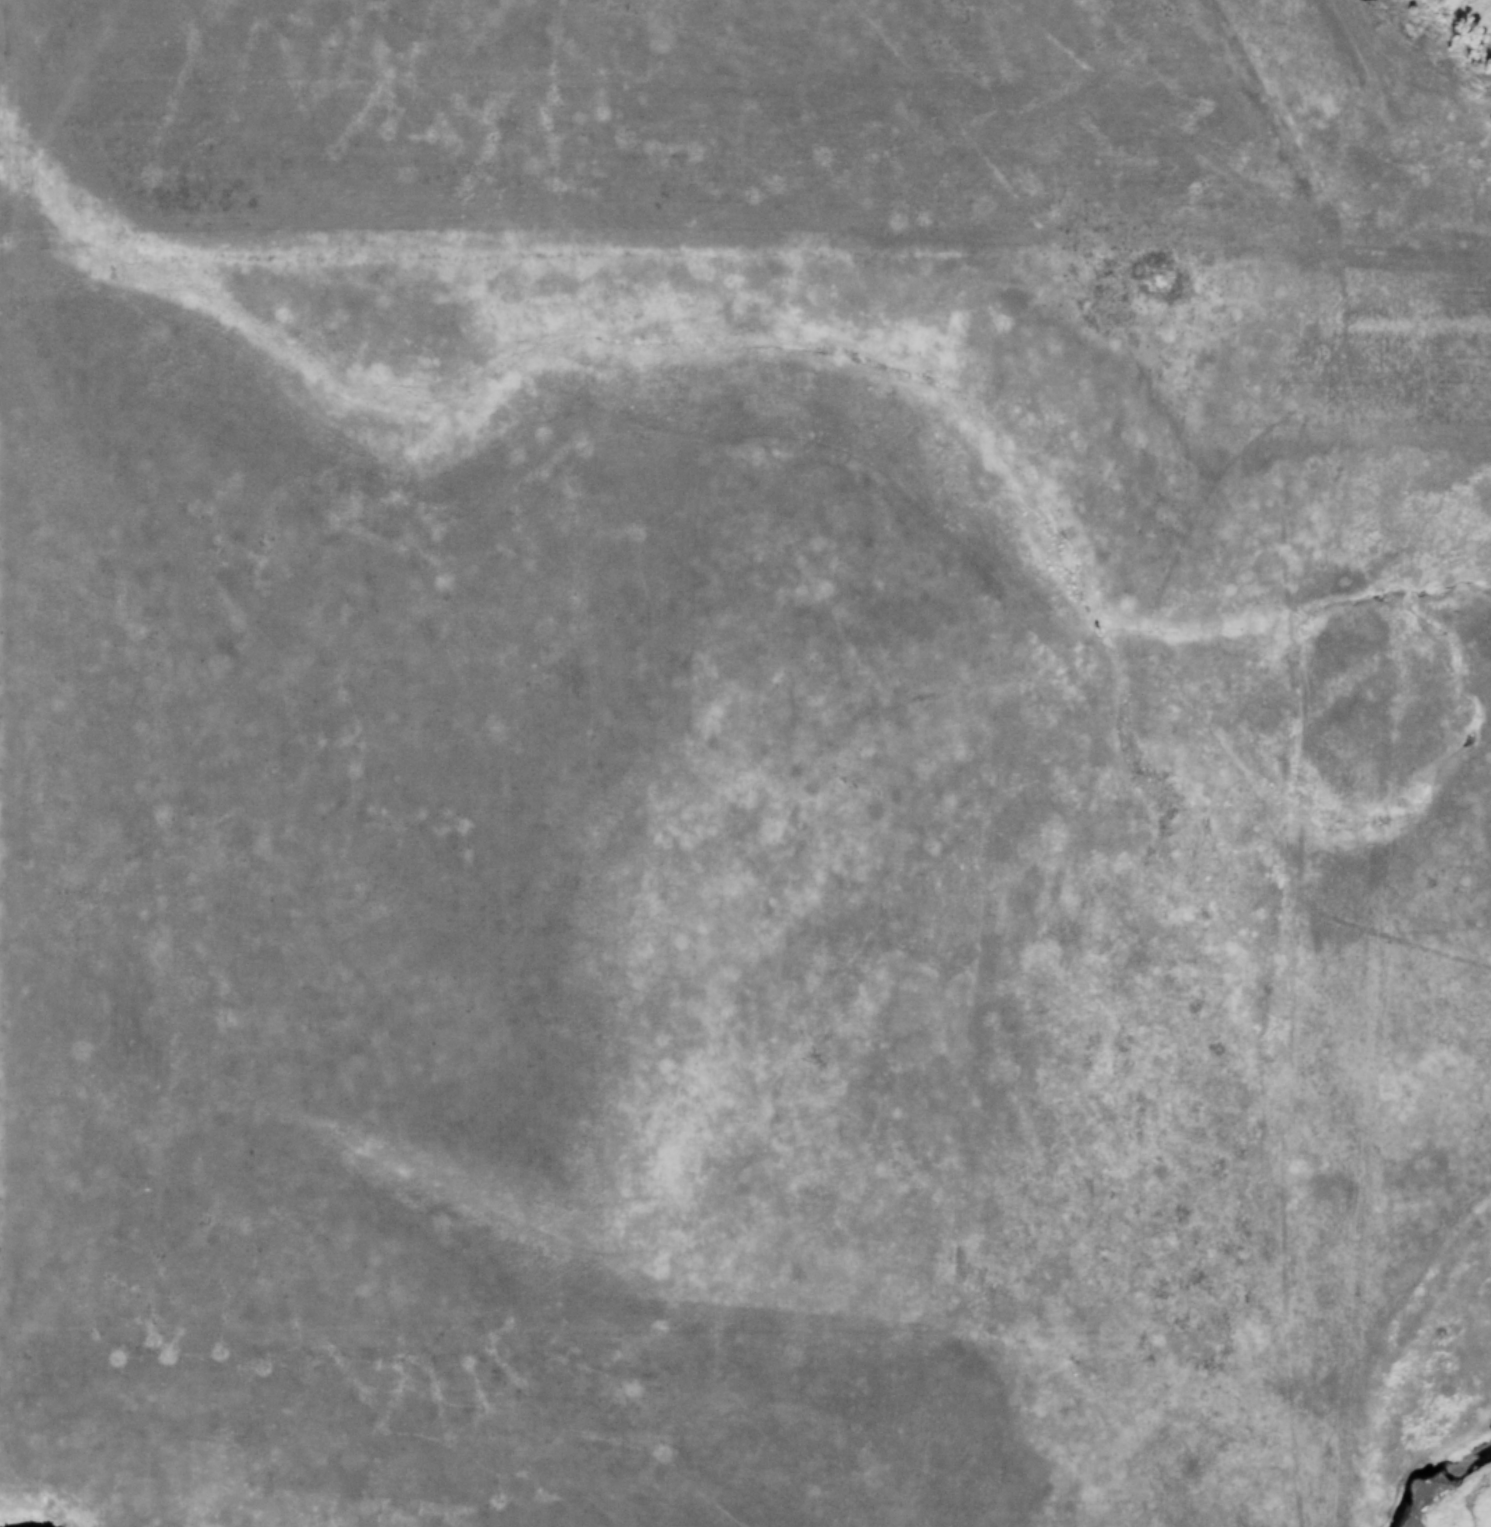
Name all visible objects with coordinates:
road: (1378, 146)

